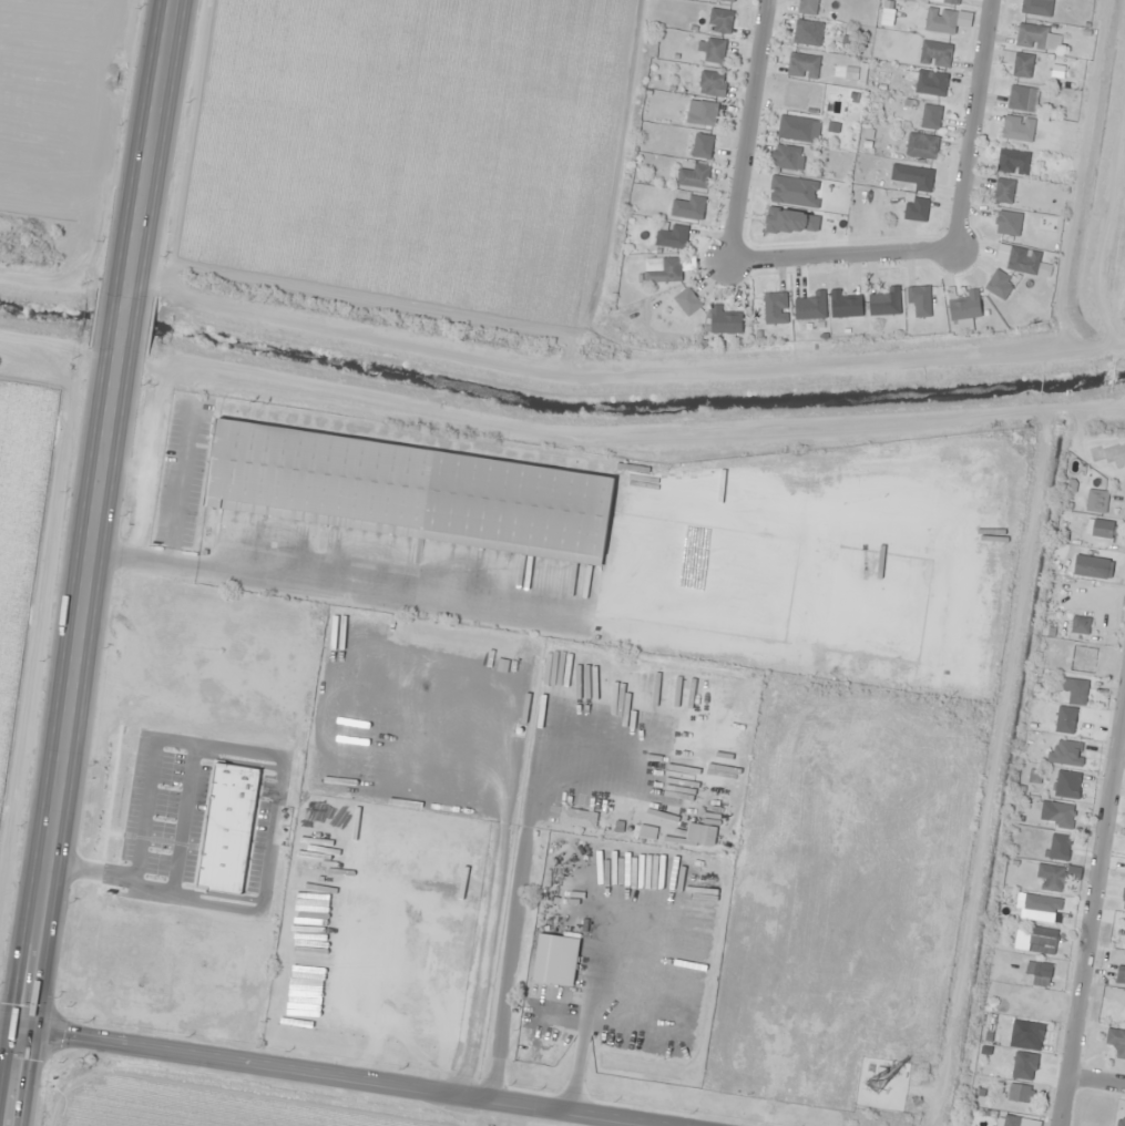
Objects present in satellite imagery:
building: (729, 0)
building: (945, 1)
building: (807, 7)
building: (1036, 7)
building: (940, 20)
building: (720, 21)
building: (802, 32)
building: (1036, 37)
building: (710, 50)
building: (935, 53)
building: (804, 65)
building: (1022, 65)
building: (929, 82)
building: (712, 84)
building: (1022, 99)
building: (702, 113)
building: (931, 117)
building: (796, 129)
building: (1017, 129)
building: (702, 145)
building: (921, 145)
building: (787, 157)
building: (1013, 162)
building: (694, 176)
building: (920, 180)
building: (1003, 191)
building: (795, 192)
building: (688, 208)
building: (916, 208)
building: (1009, 223)
building: (671, 237)
road: (832, 255)
building: (1027, 263)
building: (662, 269)
building: (1000, 285)
building: (919, 300)
building: (687, 301)
building: (884, 303)
building: (810, 306)
building: (845, 306)
building: (775, 308)
building: (963, 309)
building: (724, 321)
building: (409, 492)
building: (1096, 500)
building: (1101, 529)
road: (88, 562)
building: (1092, 567)
building: (1080, 625)
building: (1083, 658)
building: (1075, 690)
building: (1066, 754)
building: (1067, 785)
building: (1055, 815)
building: (1056, 847)
building: (1053, 878)
road: (1093, 902)
building: (1042, 941)
building: (555, 960)
building: (1040, 973)
building: (1119, 975)
building: (1031, 1032)
road: (10, 1042)
building: (1116, 1043)
traffic signals: (20, 1044)
road: (1097, 1078)
road: (323, 1081)
building: (1020, 1093)
building: (1121, 1122)

